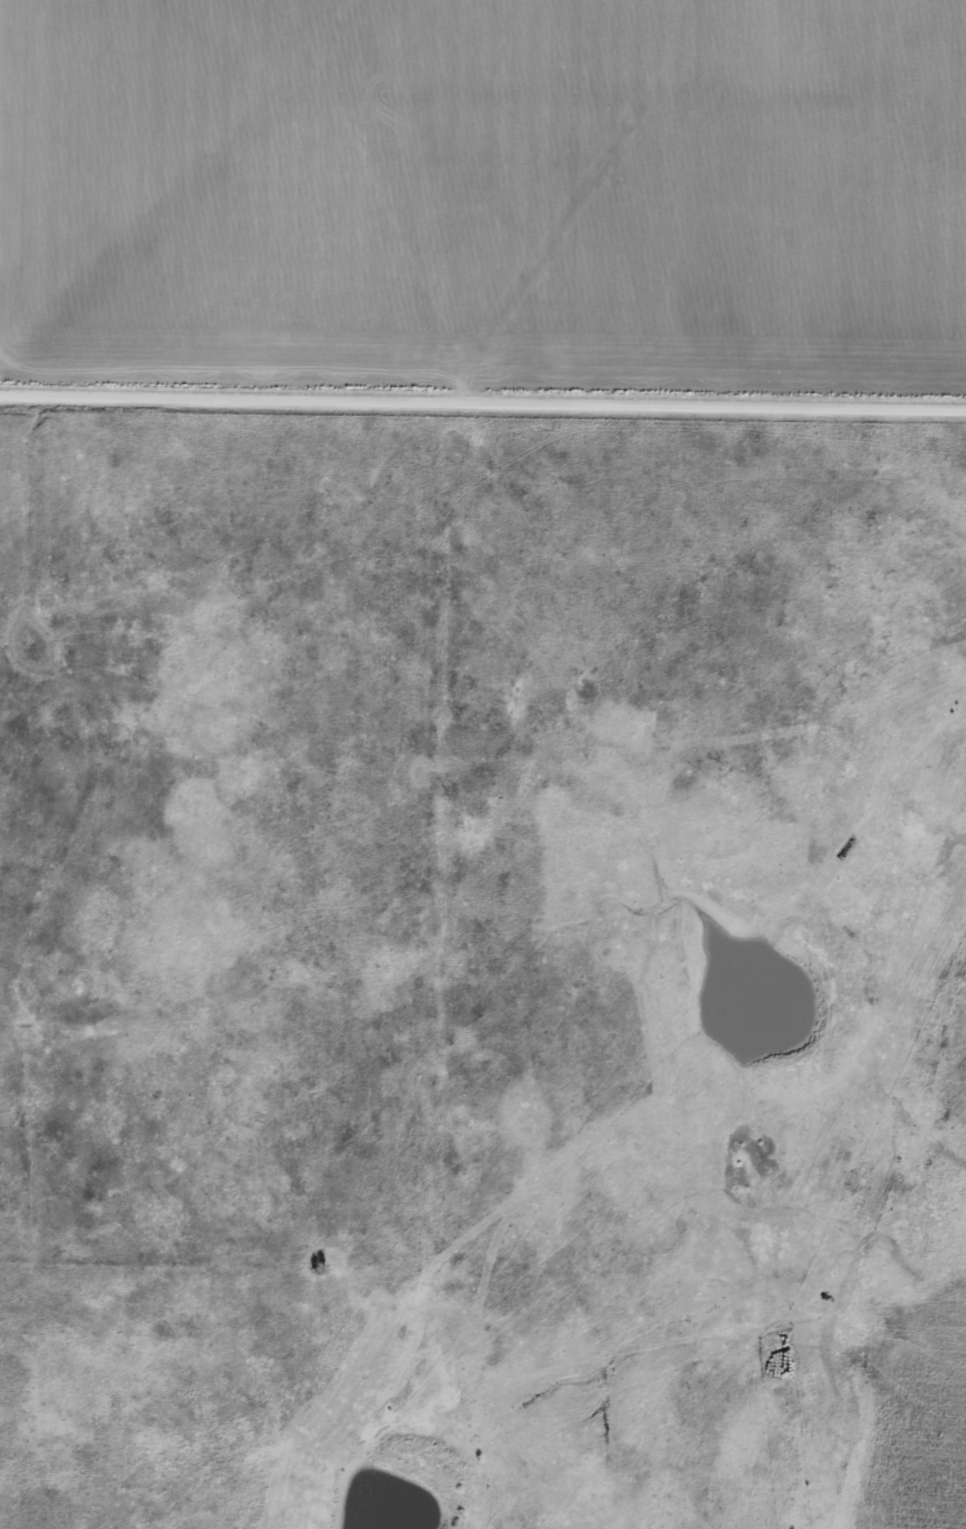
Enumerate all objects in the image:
road: (482, 400)

